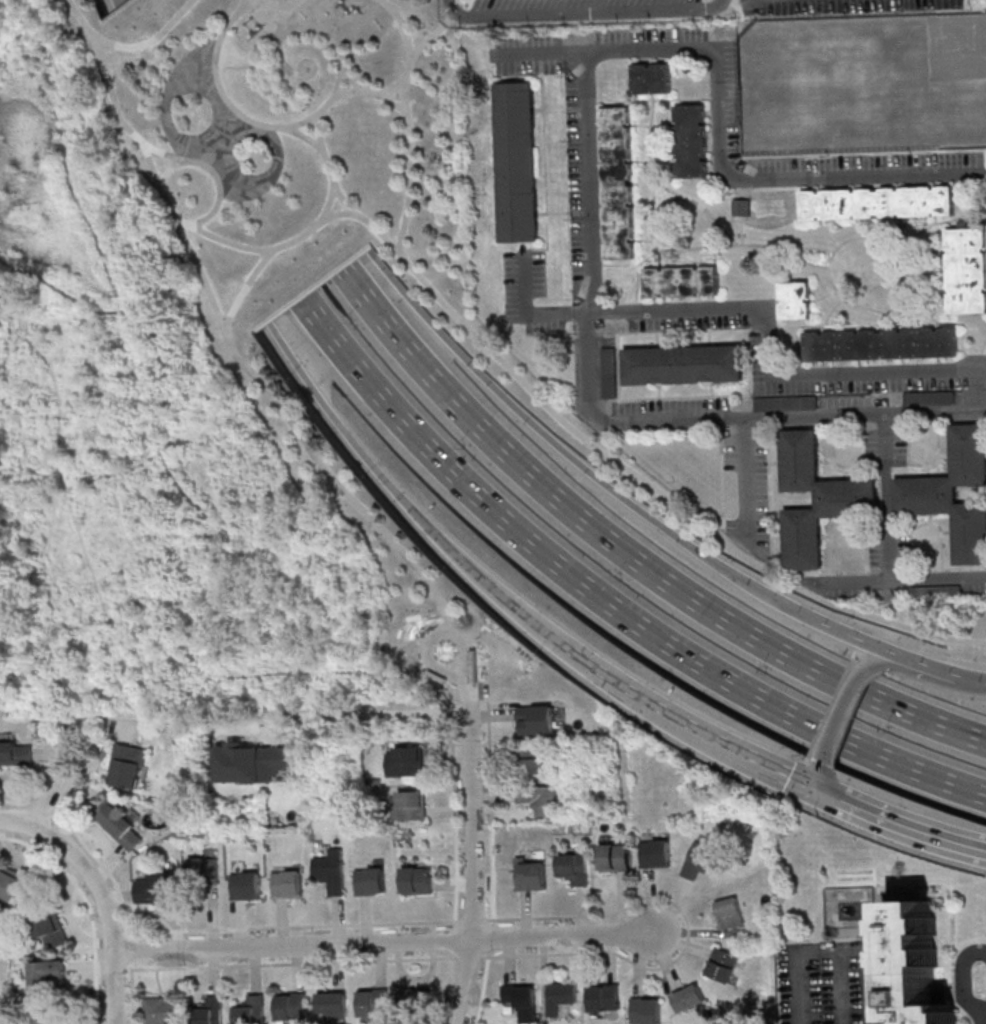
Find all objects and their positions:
road: (129, 0)
road: (727, 1)
road: (459, 2)
road: (110, 5)
road: (271, 6)
road: (739, 7)
road: (581, 11)
road: (279, 29)
road: (437, 30)
road: (143, 46)
road: (713, 50)
road: (543, 54)
building: (835, 54)
road: (309, 59)
road: (340, 67)
road: (296, 75)
building: (650, 77)
park: (862, 82)
road: (367, 90)
road: (346, 91)
road: (714, 97)
road: (392, 100)
road: (653, 100)
road: (591, 102)
road: (303, 121)
road: (407, 122)
road: (216, 136)
building: (690, 139)
road: (323, 151)
building: (515, 160)
road: (167, 172)
road: (217, 176)
building: (617, 182)
road: (343, 201)
building: (876, 202)
road: (701, 205)
building: (741, 207)
road: (935, 220)
road: (231, 242)
road: (667, 250)
road: (597, 264)
road: (621, 264)
road: (828, 269)
building: (966, 269)
road: (638, 271)
building: (681, 280)
road: (112, 281)
road: (61, 293)
road: (175, 298)
building: (794, 299)
road: (636, 308)
road: (135, 312)
road: (529, 315)
road: (639, 332)
building: (880, 343)
road: (228, 344)
road: (979, 353)
building: (682, 363)
road: (765, 367)
park: (207, 372)
road: (590, 375)
building: (609, 379)
building: (929, 397)
building: (786, 402)
road: (937, 416)
road: (798, 418)
road: (884, 425)
road: (743, 426)
road: (769, 427)
road: (178, 442)
road: (907, 444)
road: (170, 448)
road: (224, 448)
road: (938, 456)
road: (833, 461)
road: (574, 464)
road: (625, 470)
road: (117, 473)
road: (721, 479)
road: (748, 483)
building: (953, 491)
road: (68, 493)
road: (389, 493)
building: (816, 497)
road: (887, 497)
road: (625, 558)
road: (242, 561)
road: (903, 579)
building: (935, 592)
road: (600, 604)
road: (869, 643)
road: (963, 660)
road: (221, 666)
road: (160, 667)
road: (948, 671)
road: (307, 672)
road: (924, 677)
road: (663, 710)
road: (837, 712)
road: (120, 714)
road: (366, 716)
building: (536, 719)
building: (16, 753)
building: (534, 759)
building: (406, 760)
building: (128, 766)
road: (57, 775)
road: (822, 779)
road: (807, 785)
traffic signals: (828, 795)
building: (542, 799)
road: (836, 799)
building: (413, 805)
road: (17, 824)
building: (122, 824)
road: (909, 828)
road: (475, 834)
road: (981, 850)
building: (655, 853)
building: (615, 856)
building: (701, 860)
building: (573, 867)
building: (332, 871)
building: (532, 874)
building: (204, 875)
building: (417, 880)
building: (371, 881)
building: (12, 883)
building: (288, 883)
building: (247, 885)
building: (157, 887)
road: (106, 911)
building: (730, 912)
road: (493, 922)
road: (454, 924)
building: (51, 927)
road: (490, 937)
road: (453, 939)
road: (380, 945)
road: (835, 949)
road: (488, 953)
building: (723, 965)
building: (917, 966)
road: (653, 967)
building: (46, 977)
road: (964, 985)
road: (448, 988)
building: (561, 996)
building: (604, 997)
building: (689, 997)
building: (416, 998)
building: (522, 1001)
building: (374, 1002)
building: (333, 1006)
building: (292, 1007)
building: (163, 1010)
building: (252, 1010)
building: (646, 1010)
building: (211, 1011)
road: (98, 1014)
building: (50, 1017)
road: (984, 1018)

